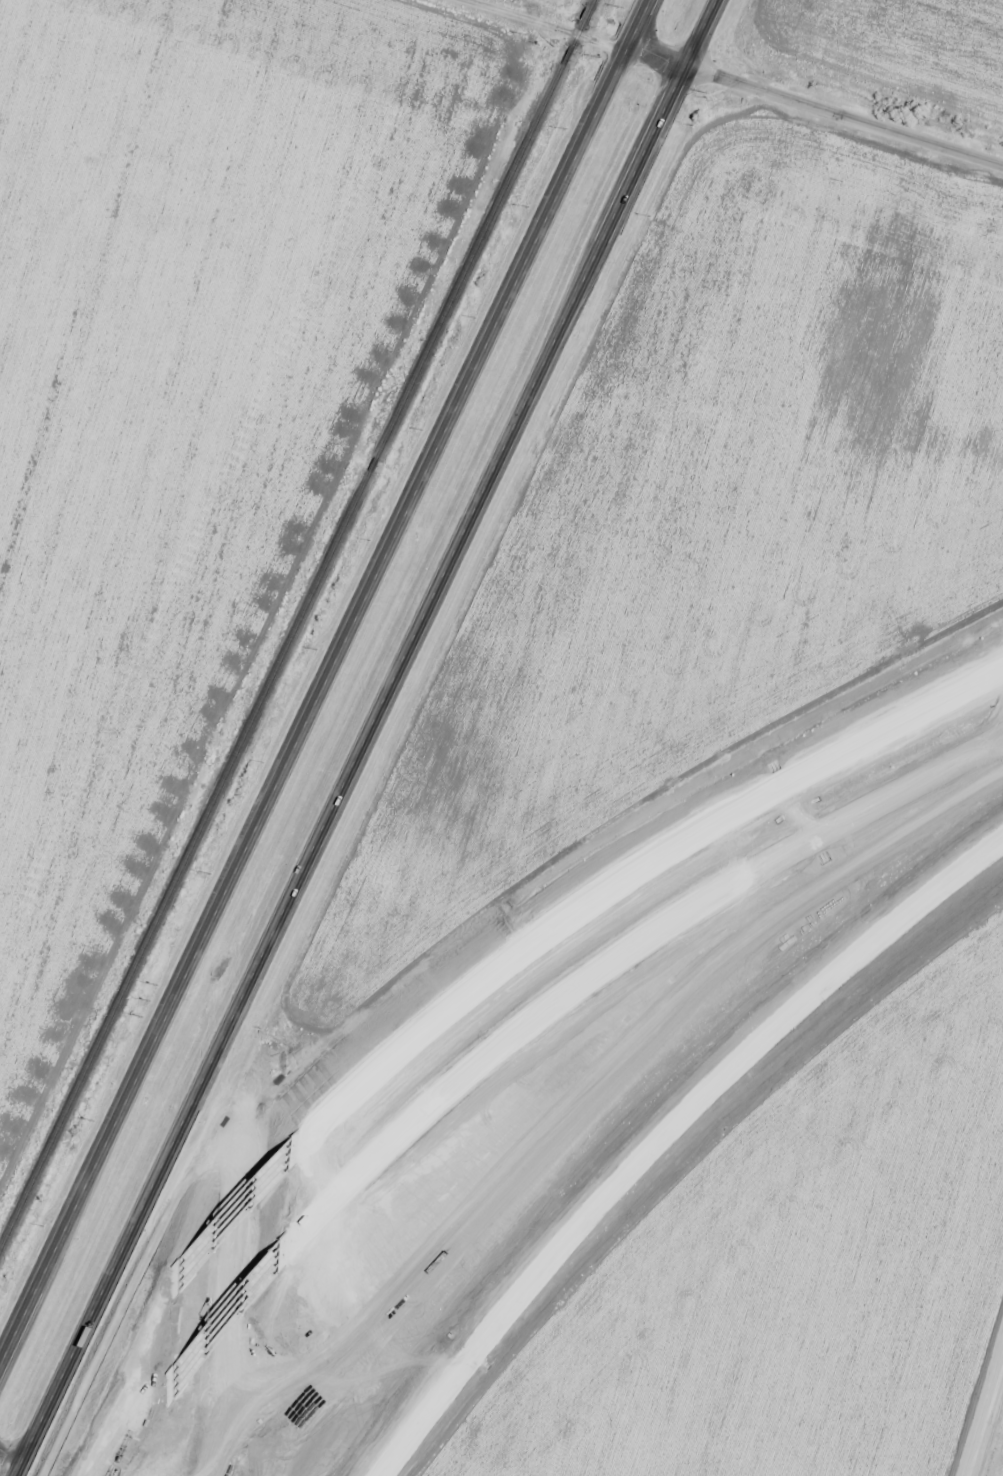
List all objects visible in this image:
road: (702, 33)
crop: (902, 45)
road: (733, 82)
road: (500, 455)
road: (435, 458)
railway: (295, 622)
road: (635, 872)
road: (624, 951)
road: (667, 1134)
road: (108, 1146)
road: (240, 1156)
road: (144, 1205)
road: (232, 1211)
road: (223, 1317)
road: (93, 1384)
road: (132, 1439)

